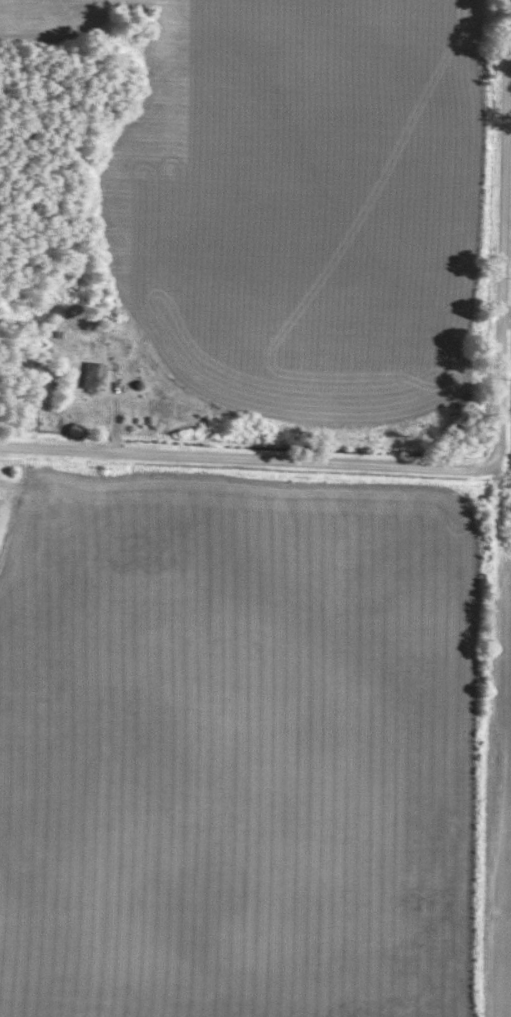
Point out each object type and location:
road: (504, 160)
road: (506, 322)
building: (90, 375)
road: (317, 461)

